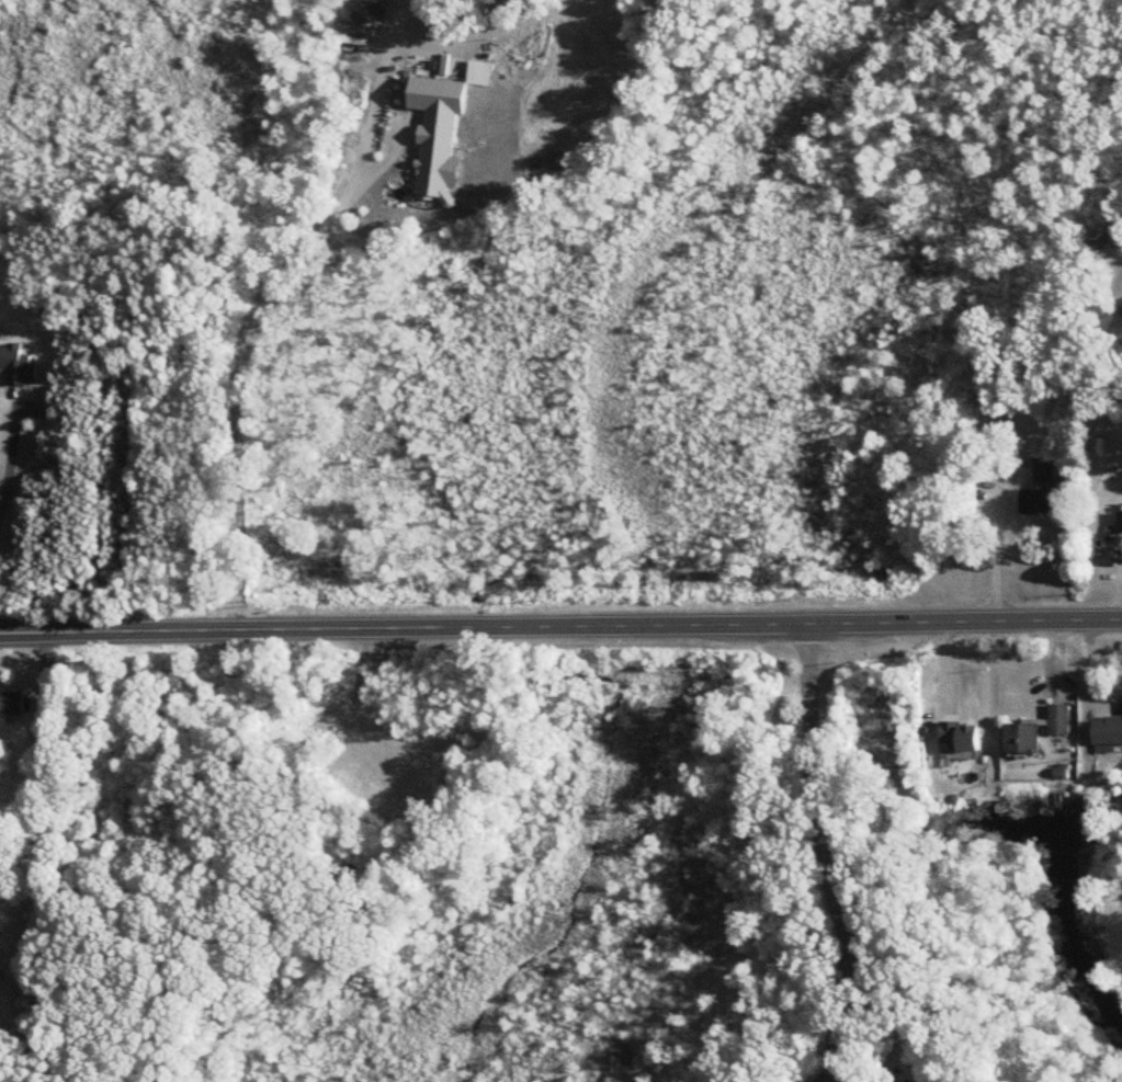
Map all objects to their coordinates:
building: (405, 72)
building: (437, 140)
road: (268, 299)
building: (1121, 311)
building: (1120, 328)
road: (10, 454)
building: (1045, 470)
building: (1041, 501)
building: (1120, 519)
road: (998, 544)
road: (560, 628)
building: (12, 704)
building: (1059, 719)
building: (1108, 730)
building: (1022, 738)
building: (961, 740)
road: (828, 855)

